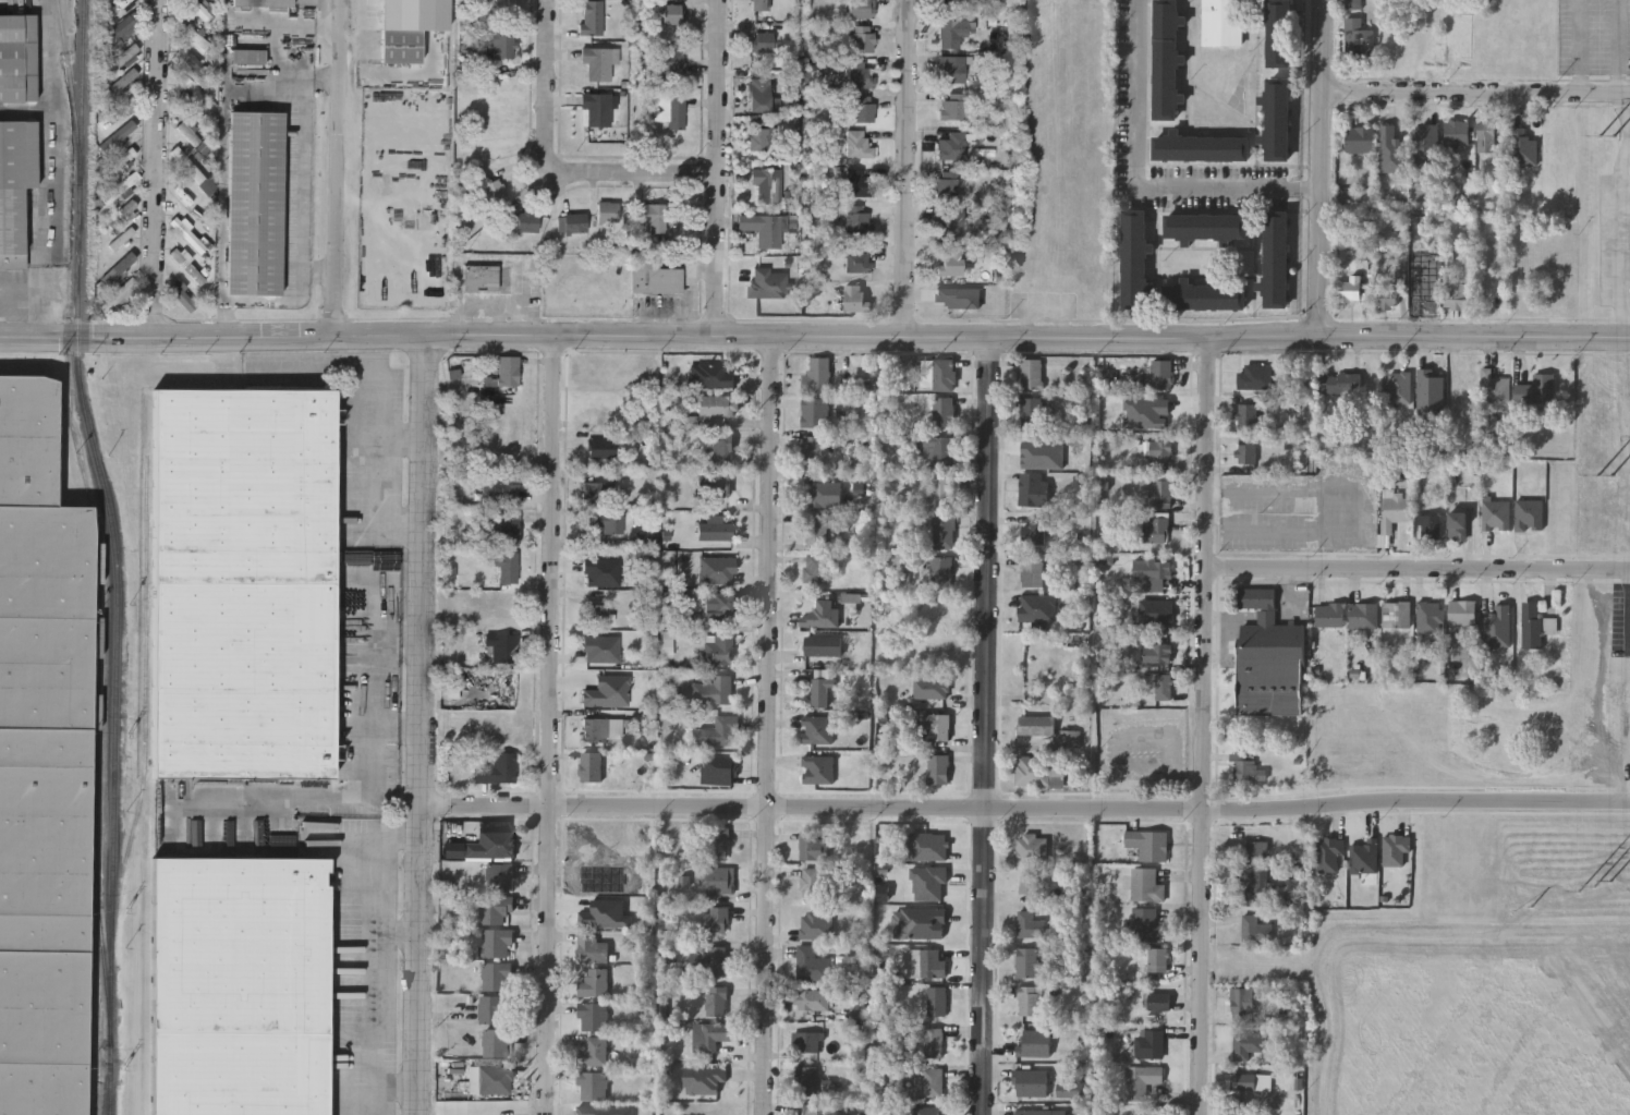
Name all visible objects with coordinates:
building: (655, 1)
building: (951, 1)
building: (263, 2)
building: (761, 4)
building: (860, 8)
building: (200, 9)
building: (673, 13)
building: (591, 17)
building: (1222, 22)
building: (119, 27)
building: (190, 32)
building: (949, 34)
building: (1279, 34)
parking lot: (1594, 37)
building: (862, 38)
building: (1357, 38)
building: (761, 41)
building: (498, 43)
building: (401, 45)
road: (1582, 48)
road: (1618, 48)
building: (248, 56)
building: (17, 57)
building: (121, 57)
building: (123, 59)
building: (673, 59)
building: (1166, 60)
building: (596, 62)
building: (191, 69)
building: (951, 69)
building: (859, 75)
building: (123, 80)
railway: (71, 85)
road: (1139, 95)
road: (1474, 95)
building: (762, 97)
building: (952, 107)
building: (597, 108)
building: (862, 109)
building: (676, 112)
building: (1278, 120)
building: (187, 132)
building: (1458, 133)
building: (117, 135)
building: (1423, 135)
building: (1487, 137)
power tower: (1609, 137)
building: (758, 138)
building: (1361, 141)
building: (857, 144)
building: (952, 146)
building: (1201, 147)
road: (223, 159)
building: (117, 161)
building: (186, 163)
road: (552, 163)
road: (334, 167)
road: (155, 168)
road: (48, 169)
road: (717, 169)
road: (1318, 169)
road: (902, 170)
building: (15, 180)
building: (857, 182)
building: (769, 183)
building: (947, 183)
building: (119, 186)
road: (303, 186)
road: (1307, 186)
road: (1218, 189)
building: (494, 191)
building: (255, 202)
building: (120, 213)
building: (609, 213)
building: (654, 216)
building: (857, 219)
building: (527, 222)
building: (953, 222)
building: (572, 223)
building: (1205, 227)
building: (764, 229)
building: (186, 234)
building: (120, 238)
building: (123, 240)
road: (1625, 244)
building: (856, 257)
building: (1134, 259)
building: (1276, 259)
building: (951, 262)
building: (185, 265)
building: (481, 276)
building: (654, 277)
building: (1350, 290)
building: (117, 294)
building: (182, 295)
building: (1205, 295)
building: (1422, 295)
building: (1456, 296)
building: (855, 298)
building: (1387, 298)
building: (950, 301)
road: (657, 337)
road: (1471, 339)
building: (507, 368)
building: (1031, 373)
building: (1161, 373)
building: (945, 374)
building: (710, 375)
building: (817, 375)
building: (1255, 376)
building: (1467, 383)
building: (1342, 384)
building: (1399, 388)
building: (1494, 389)
building: (1536, 390)
building: (708, 411)
building: (942, 411)
building: (1032, 411)
building: (815, 412)
building: (1246, 414)
building: (601, 447)
building: (722, 449)
building: (813, 449)
building: (938, 450)
building: (1160, 450)
building: (1245, 452)
power tower: (1607, 476)
road: (385, 482)
building: (713, 484)
building: (498, 486)
building: (1033, 488)
building: (594, 490)
building: (940, 490)
building: (825, 493)
building: (1160, 493)
parking lot: (1303, 508)
building: (1394, 510)
building: (1495, 514)
building: (1529, 516)
building: (607, 519)
building: (506, 526)
building: (1154, 526)
building: (1458, 526)
building: (1430, 528)
building: (714, 530)
building: (816, 530)
building: (944, 531)
building: (1033, 531)
railway: (115, 555)
building: (508, 566)
road: (1257, 566)
building: (816, 567)
building: (940, 568)
road: (1471, 568)
building: (716, 569)
building: (1032, 570)
building: (1156, 572)
building: (244, 583)
building: (719, 603)
building: (1036, 607)
building: (1159, 610)
building: (596, 611)
building: (1461, 613)
building: (820, 614)
building: (1395, 614)
building: (1362, 615)
building: (1331, 617)
building: (1428, 617)
building: (1533, 625)
building: (823, 644)
building: (501, 646)
building: (600, 647)
building: (717, 650)
building: (1157, 651)
building: (1270, 660)
building: (1164, 686)
road: (370, 687)
building: (930, 687)
building: (711, 690)
building: (823, 691)
railway: (145, 701)
road: (416, 725)
road: (548, 725)
building: (1036, 725)
road: (766, 726)
building: (940, 726)
road: (982, 727)
road: (1200, 727)
building: (589, 729)
building: (817, 729)
building: (717, 731)
park: (1437, 738)
building: (42, 762)
building: (591, 766)
building: (496, 768)
building: (817, 768)
building: (938, 768)
building: (1248, 769)
building: (718, 771)
building: (1039, 771)
railway: (96, 779)
road: (1470, 801)
road: (862, 805)
road: (363, 837)
building: (718, 843)
building: (483, 844)
building: (1148, 844)
building: (812, 845)
building: (1031, 845)
building: (1256, 850)
building: (1394, 850)
building: (1328, 853)
building: (1363, 857)
building: (498, 875)
building: (718, 882)
building: (813, 882)
building: (1027, 884)
building: (1146, 884)
building: (1256, 884)
power tower: (1594, 887)
building: (495, 907)
building: (936, 918)
building: (715, 919)
building: (811, 923)
building: (1032, 924)
building: (1146, 924)
building: (1256, 929)
road: (394, 930)
building: (497, 942)
building: (592, 947)
railway: (102, 958)
building: (1158, 959)
building: (716, 960)
building: (1026, 961)
building: (812, 963)
building: (930, 963)
building: (496, 975)
road: (376, 977)
building: (594, 982)
building: (240, 986)
building: (716, 999)
building: (811, 999)
building: (1029, 999)
building: (937, 1001)
building: (1156, 1001)
building: (1242, 1003)
building: (495, 1007)
building: (593, 1016)
building: (715, 1033)
building: (807, 1041)
building: (497, 1042)
building: (933, 1042)
building: (1035, 1042)
building: (1149, 1043)
building: (1246, 1044)
building: (594, 1052)
building: (706, 1078)
building: (494, 1079)
building: (1141, 1080)
building: (806, 1081)
building: (1251, 1081)
building: (929, 1082)
building: (1031, 1082)
building: (593, 1084)
road: (394, 1086)
railway: (108, 1094)
building: (1268, 1100)
park: (605, 1110)
building: (928, 1111)
building: (1035, 1112)
building: (812, 1113)

